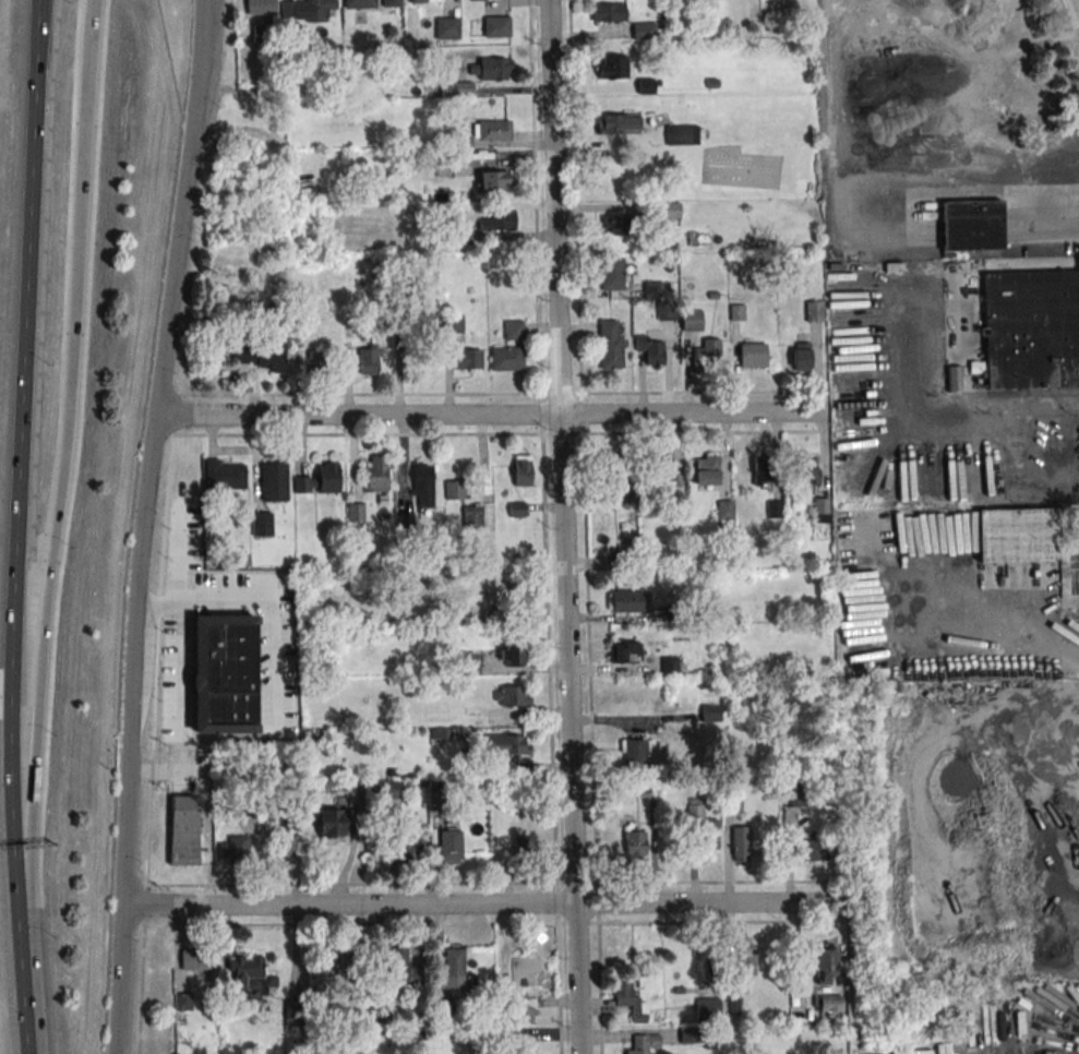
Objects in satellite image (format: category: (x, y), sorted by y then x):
building: (417, 0)
building: (482, 0)
building: (391, 2)
building: (359, 3)
building: (261, 7)
building: (308, 10)
building: (609, 12)
road: (94, 16)
building: (496, 26)
building: (446, 27)
building: (644, 31)
building: (609, 67)
building: (490, 69)
building: (648, 86)
building: (456, 88)
building: (1021, 95)
building: (619, 123)
building: (493, 130)
building: (683, 135)
building: (979, 139)
building: (459, 165)
building: (491, 180)
road: (946, 192)
building: (667, 209)
building: (502, 219)
road: (1056, 219)
building: (613, 224)
building: (971, 225)
building: (611, 273)
building: (814, 311)
building: (692, 320)
building: (454, 323)
building: (1031, 330)
building: (514, 331)
building: (610, 345)
building: (655, 351)
building: (707, 351)
building: (242, 355)
building: (801, 356)
building: (751, 357)
building: (506, 358)
building: (271, 359)
building: (368, 359)
building: (466, 359)
building: (316, 361)
road: (681, 392)
road: (226, 394)
road: (974, 405)
road: (490, 414)
road: (499, 434)
road: (1063, 460)
building: (804, 467)
building: (615, 468)
building: (664, 468)
building: (708, 468)
building: (762, 469)
building: (521, 471)
building: (224, 475)
building: (327, 477)
building: (376, 477)
building: (274, 481)
building: (422, 484)
building: (621, 489)
building: (455, 490)
building: (820, 507)
building: (356, 512)
building: (724, 512)
building: (472, 515)
road: (19, 518)
building: (405, 519)
building: (262, 524)
road: (140, 525)
road: (585, 526)
road: (565, 527)
road: (56, 534)
building: (1017, 535)
building: (499, 590)
building: (630, 600)
building: (624, 651)
building: (514, 655)
road: (1067, 662)
building: (224, 673)
building: (512, 695)
building: (710, 711)
road: (551, 723)
building: (507, 744)
building: (635, 754)
building: (394, 789)
building: (280, 814)
building: (331, 822)
building: (184, 830)
building: (707, 837)
building: (635, 842)
building: (405, 843)
building: (740, 843)
building: (448, 845)
building: (233, 846)
building: (524, 848)
building: (810, 850)
road: (493, 884)
road: (482, 905)
road: (492, 923)
building: (744, 960)
building: (351, 962)
building: (825, 962)
building: (196, 963)
building: (396, 966)
building: (454, 967)
building: (524, 970)
building: (249, 979)
building: (624, 993)
building: (182, 1001)
building: (827, 1005)
building: (707, 1009)
building: (445, 1010)
building: (518, 1013)
building: (690, 1035)
road: (1074, 1038)
road: (28, 1045)
building: (519, 1049)
building: (638, 1050)

